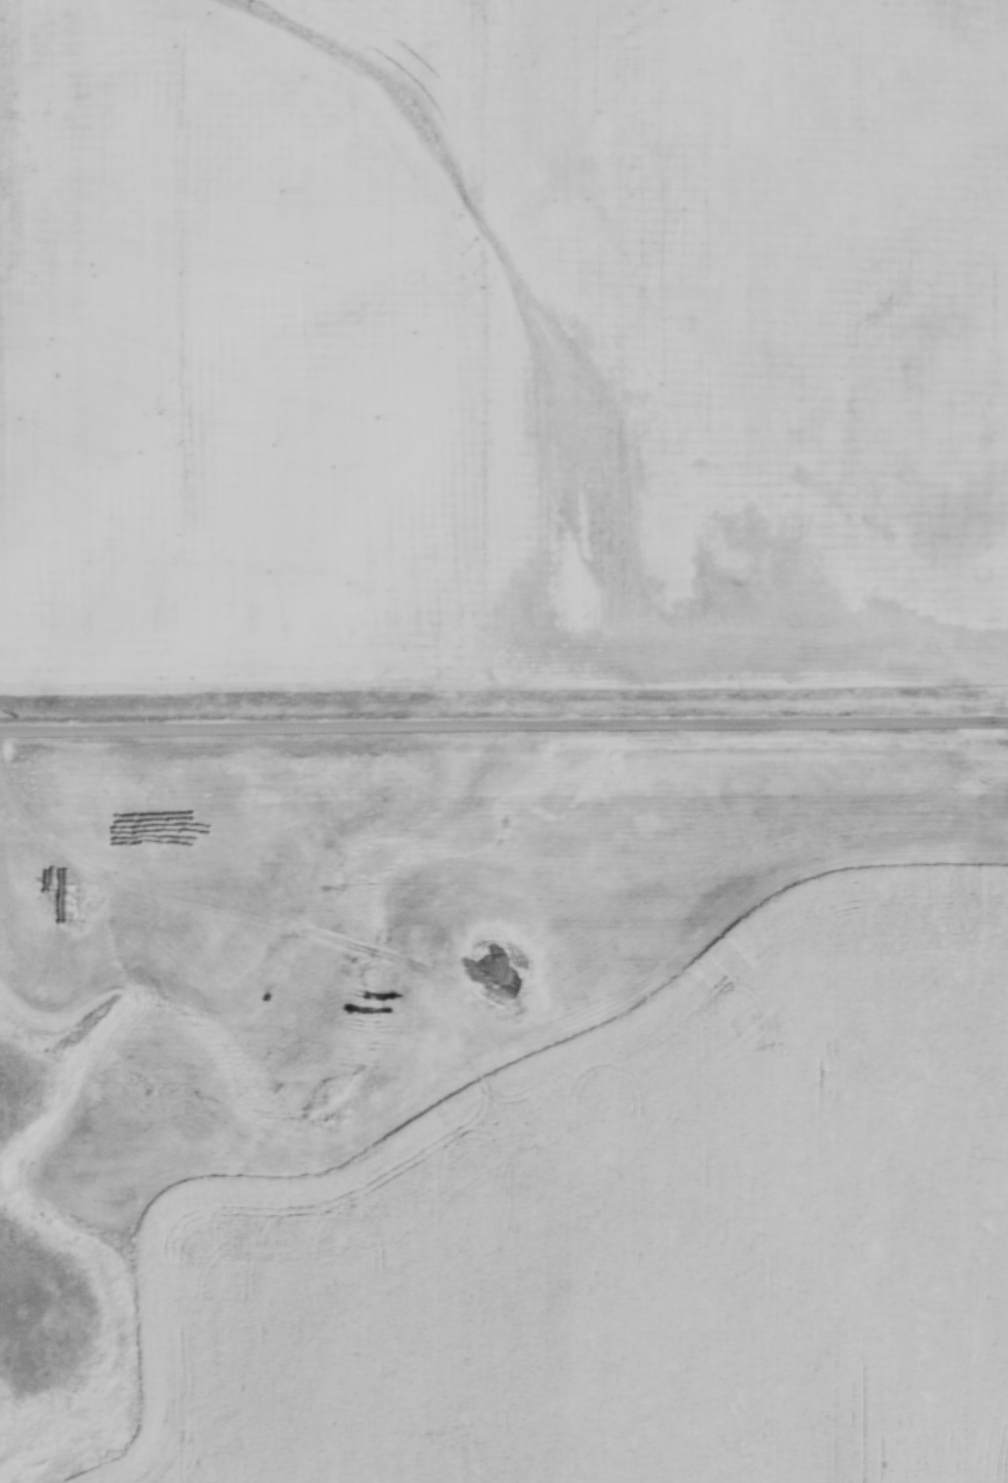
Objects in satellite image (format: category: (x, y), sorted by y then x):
road: (503, 723)

